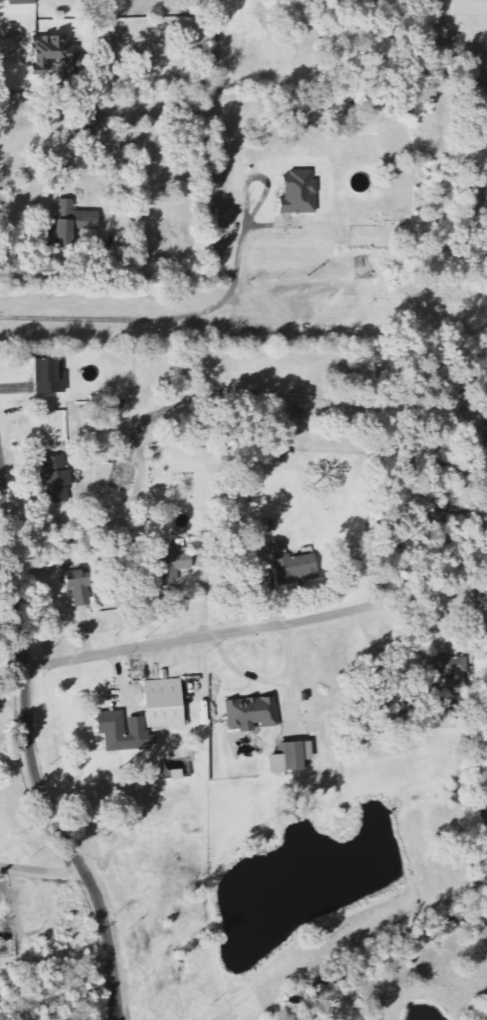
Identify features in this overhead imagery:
building: (25, 3)
building: (472, 8)
building: (58, 55)
building: (301, 194)
building: (75, 223)
road: (155, 317)
building: (52, 376)
building: (58, 480)
road: (1, 502)
building: (439, 518)
building: (174, 566)
building: (293, 567)
road: (477, 581)
building: (81, 589)
road: (254, 629)
building: (453, 672)
building: (166, 704)
building: (253, 714)
building: (126, 733)
road: (31, 755)
building: (293, 757)
road: (43, 872)

